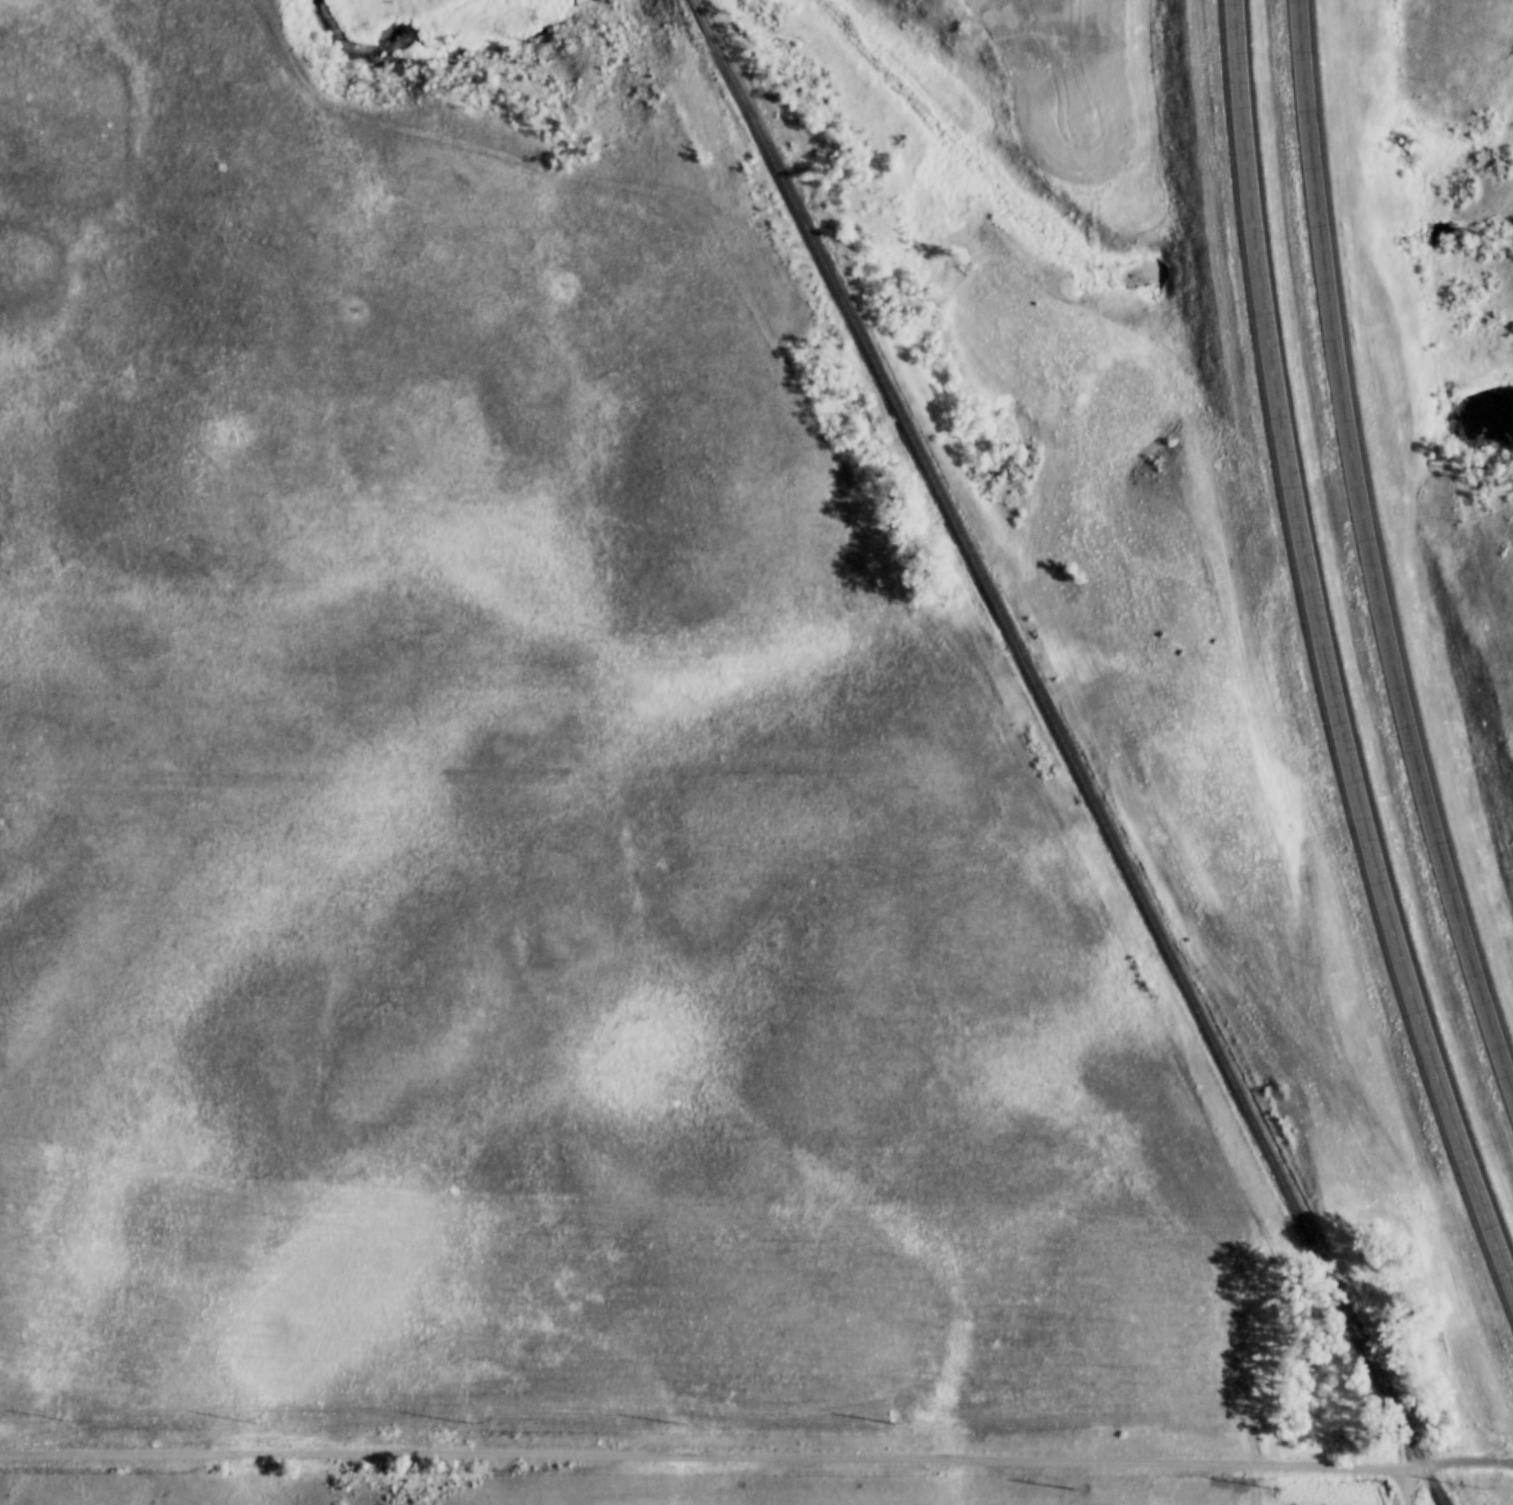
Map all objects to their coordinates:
road: (1374, 550)
road: (1326, 646)
railway: (1066, 752)
road: (756, 1453)
road: (1403, 1487)

